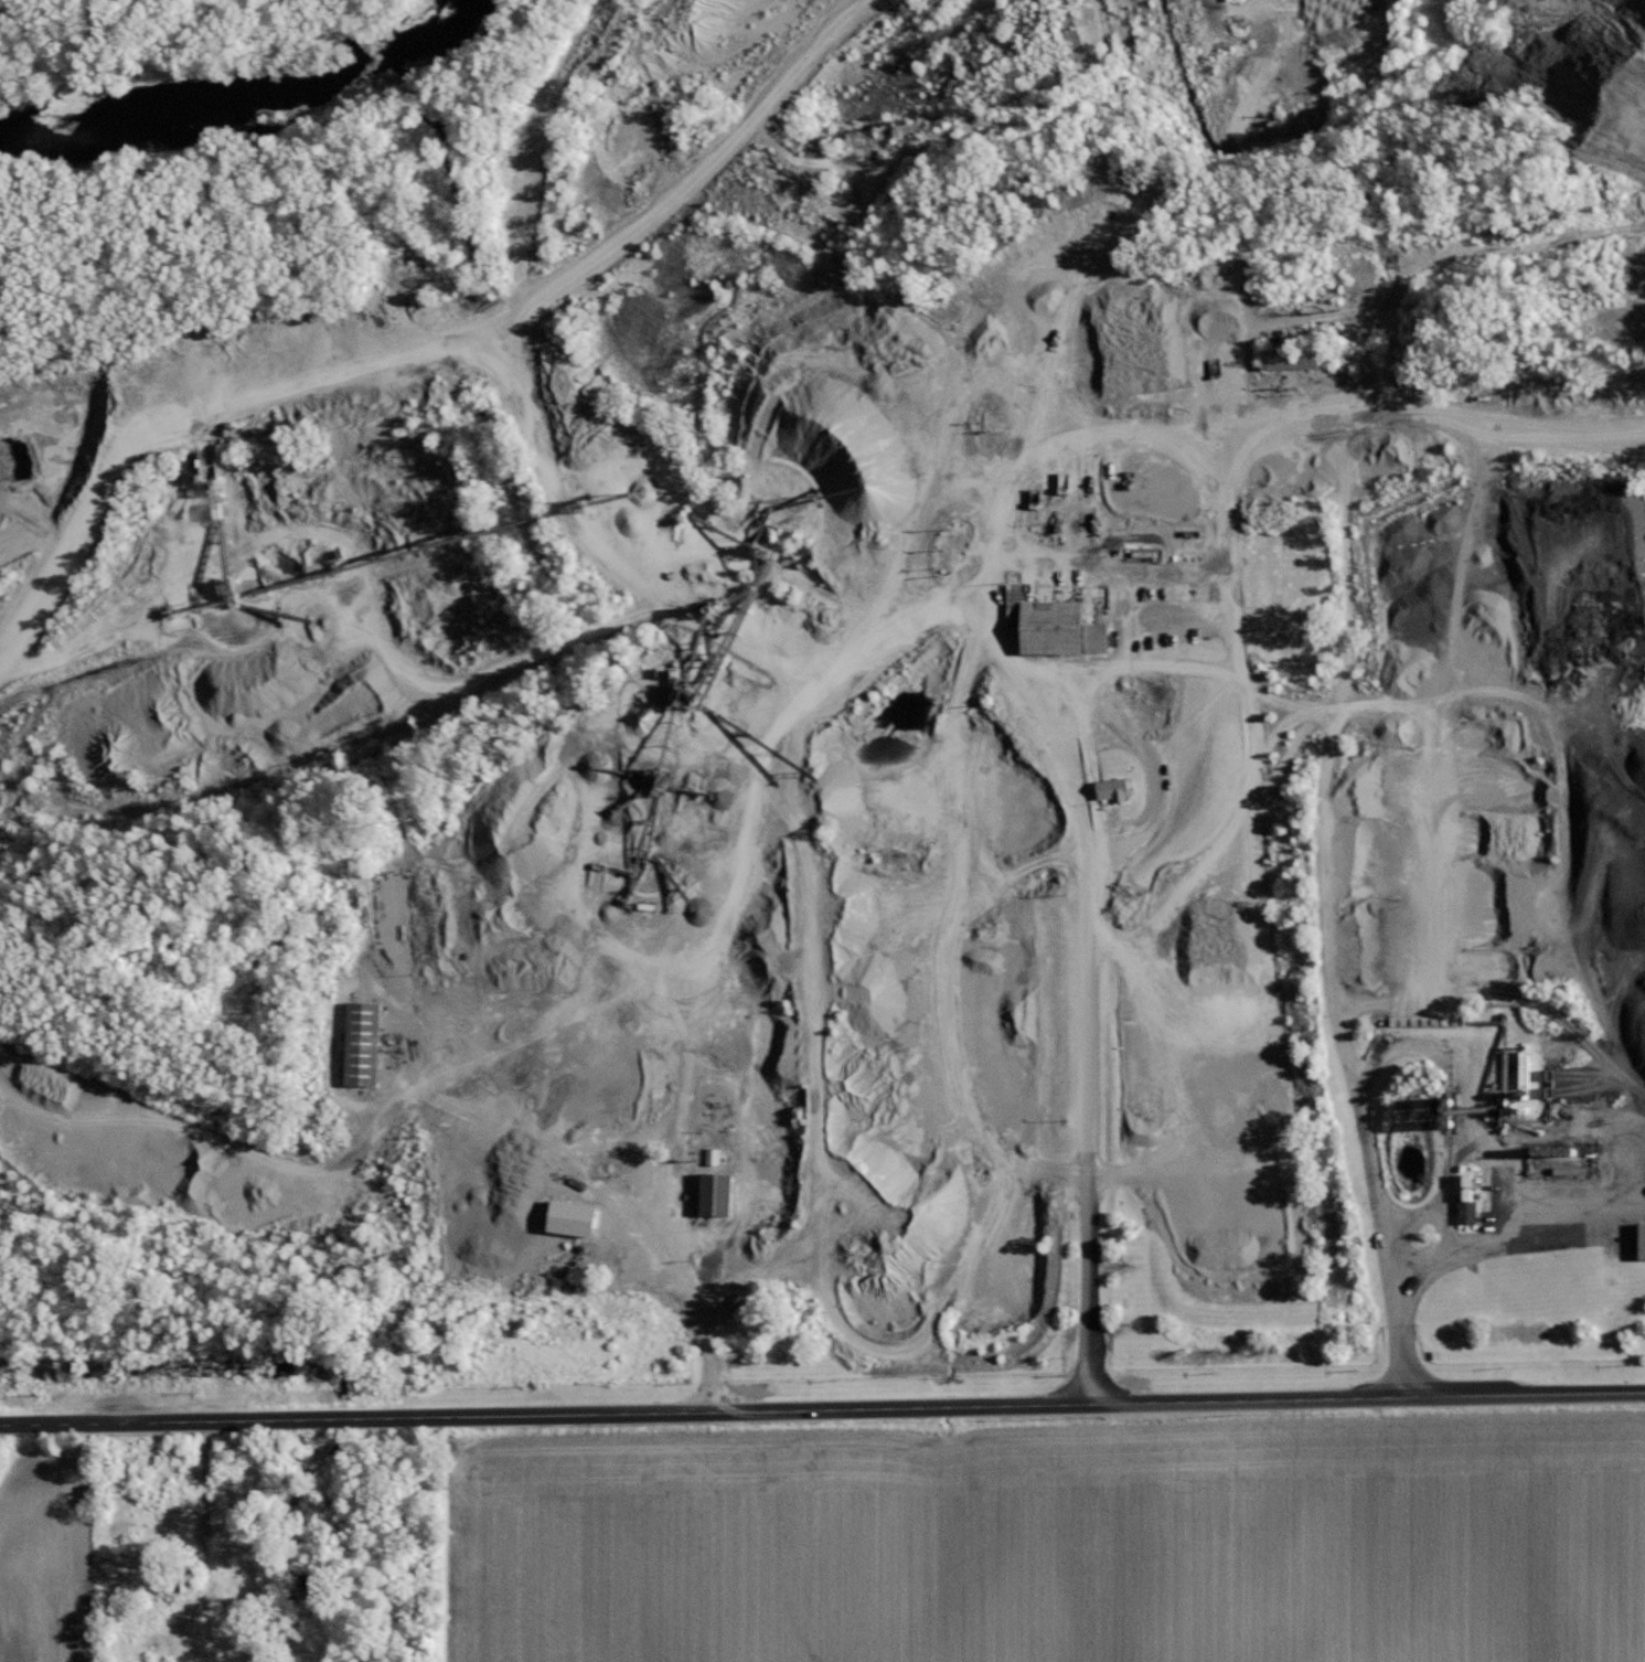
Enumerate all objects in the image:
river: (255, 115)
road: (536, 155)
road: (1459, 254)
road: (487, 333)
road: (1162, 409)
building: (1412, 526)
road: (67, 534)
road: (357, 572)
building: (1058, 628)
road: (1246, 658)
road: (1551, 665)
road: (1372, 712)
quarry: (832, 718)
road: (1606, 747)
building: (1119, 792)
road: (786, 807)
road: (1454, 842)
road: (1574, 888)
road: (1321, 896)
road: (938, 948)
road: (1088, 968)
road: (1630, 1009)
road: (1453, 1029)
building: (367, 1045)
road: (1397, 1050)
road: (432, 1079)
building: (717, 1157)
building: (724, 1194)
building: (1472, 1200)
building: (579, 1218)
road: (1505, 1238)
road: (822, 1409)

